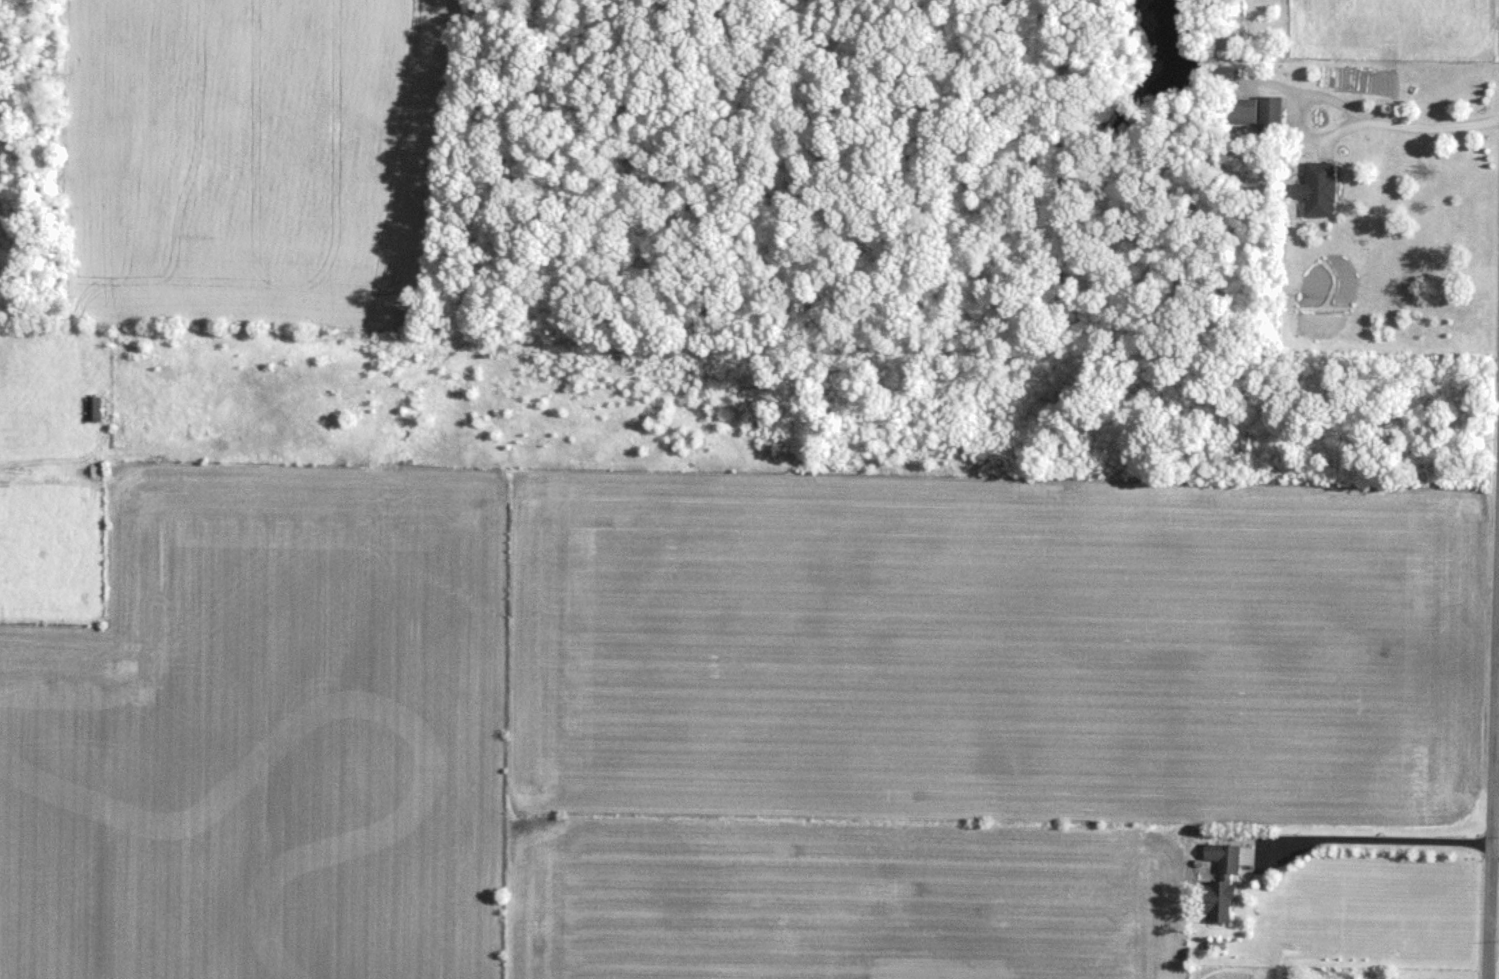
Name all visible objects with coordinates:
road: (1348, 110)
road: (1489, 498)
road: (1364, 840)
building: (1226, 877)

